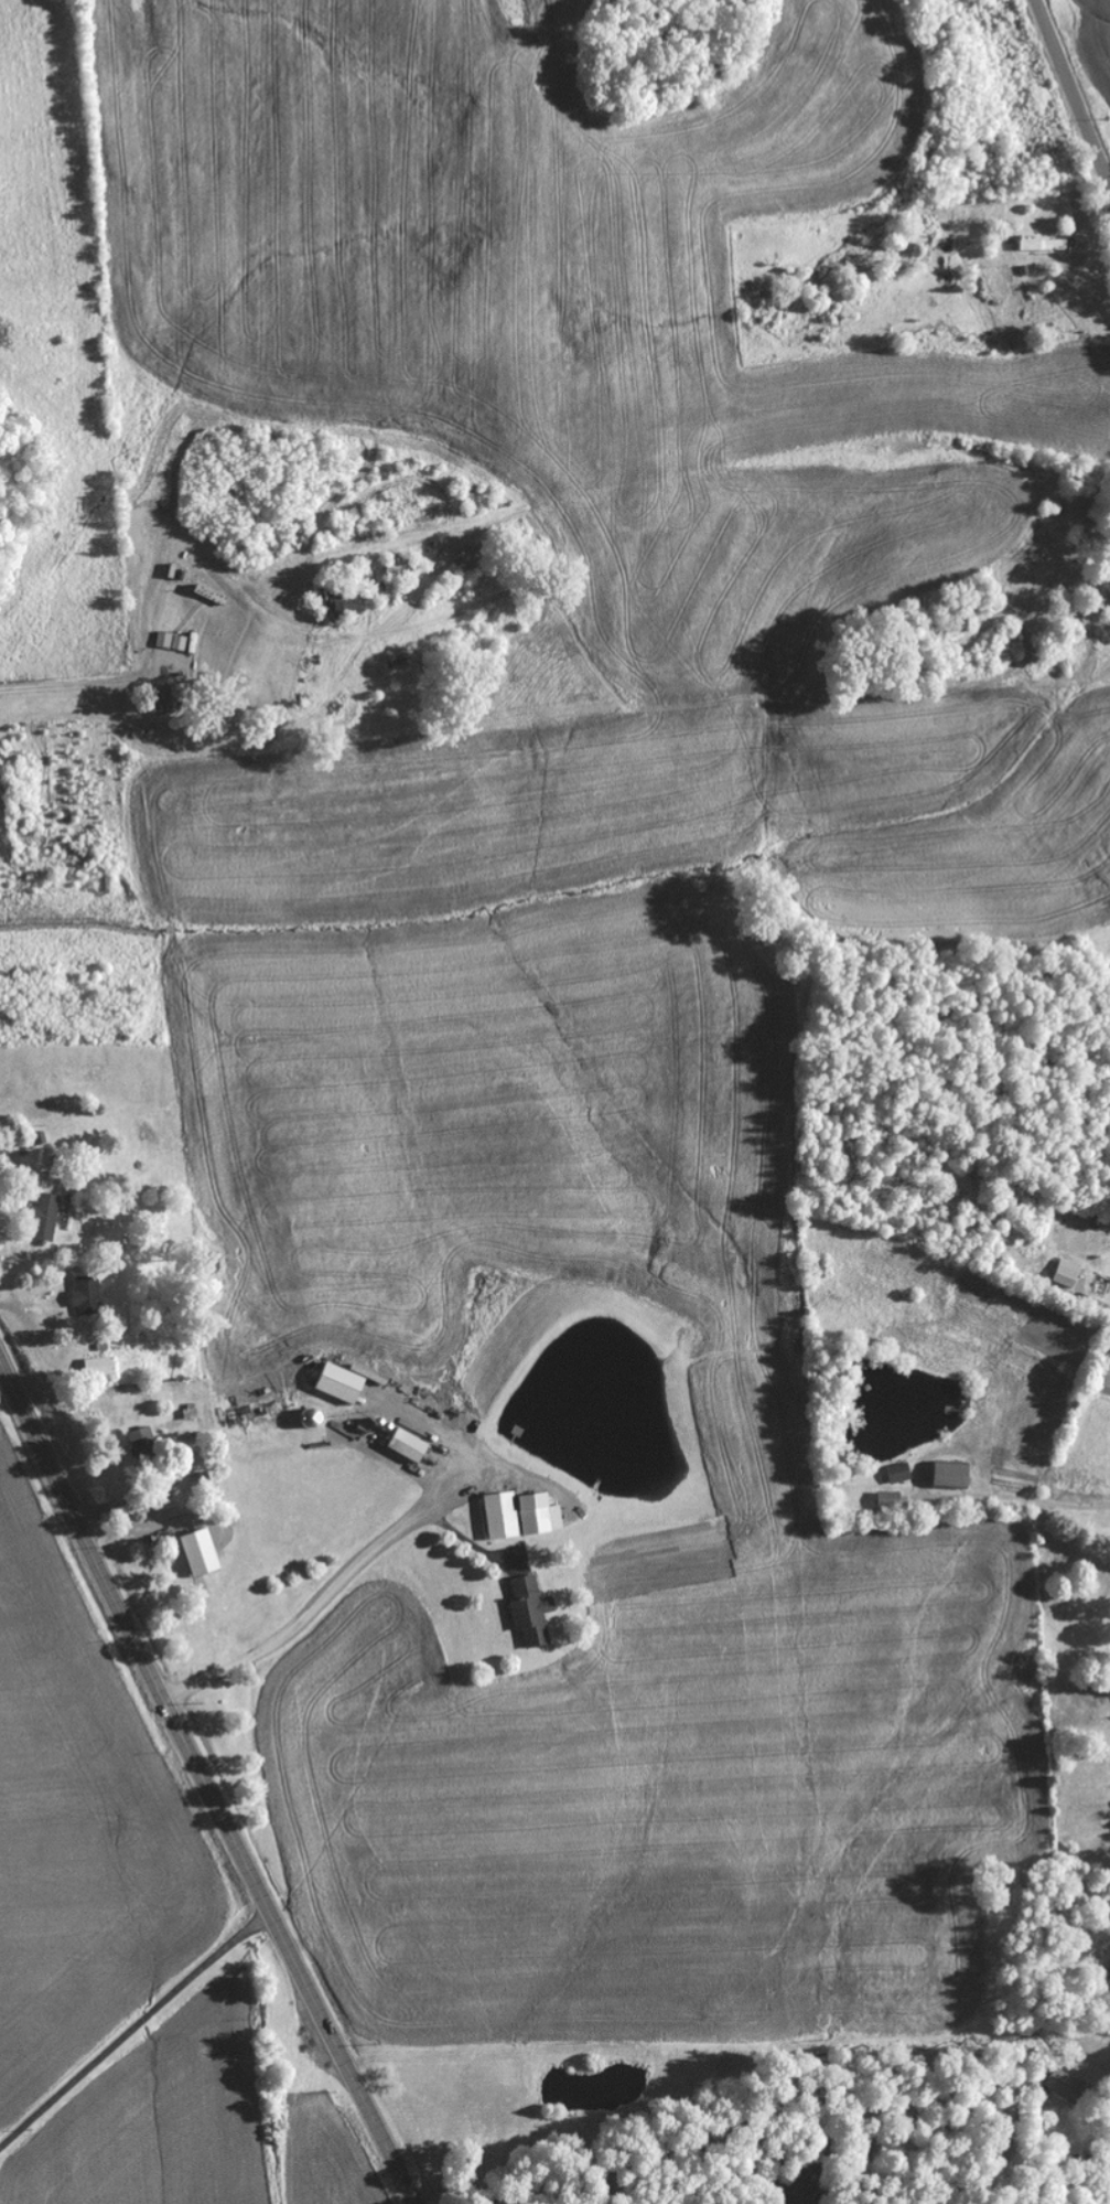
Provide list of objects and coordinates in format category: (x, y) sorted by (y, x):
road: (1071, 96)
building: (1038, 245)
building: (391, 568)
building: (338, 606)
road: (157, 618)
building: (169, 642)
building: (43, 1218)
building: (83, 1297)
building: (333, 1384)
building: (139, 1442)
building: (401, 1446)
building: (895, 1474)
building: (945, 1477)
building: (885, 1501)
building: (516, 1516)
building: (193, 1554)
building: (527, 1613)
road: (203, 1784)
building: (1058, 2082)

